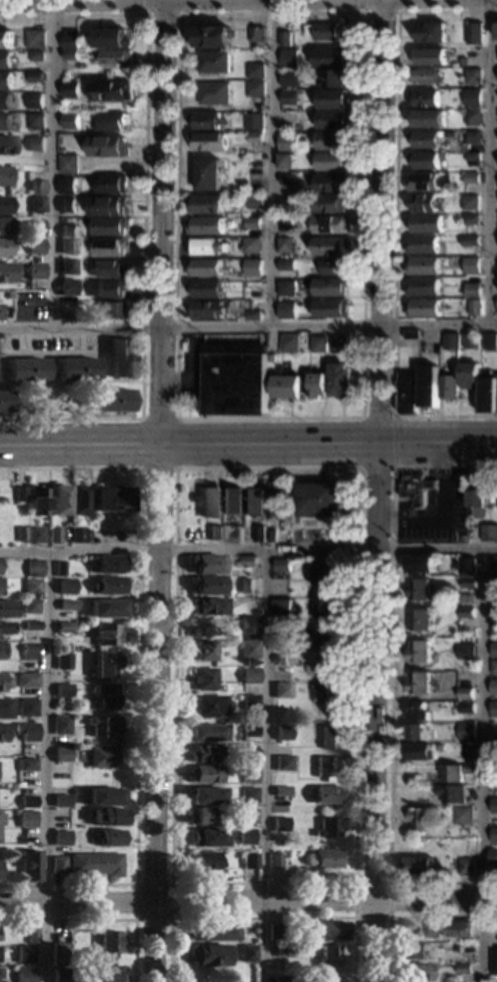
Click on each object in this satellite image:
road: (27, 0)
road: (364, 12)
road: (381, 12)
road: (160, 15)
building: (325, 31)
building: (431, 32)
building: (257, 33)
building: (474, 33)
building: (210, 37)
building: (111, 38)
building: (284, 38)
building: (4, 39)
building: (33, 39)
building: (68, 39)
building: (69, 55)
building: (35, 56)
building: (115, 57)
building: (288, 57)
building: (332, 57)
building: (430, 57)
building: (5, 59)
building: (213, 61)
building: (463, 62)
building: (254, 70)
building: (425, 76)
building: (474, 76)
building: (23, 77)
building: (36, 77)
building: (289, 78)
building: (335, 79)
building: (5, 80)
building: (255, 88)
building: (69, 90)
building: (110, 91)
building: (214, 93)
building: (288, 98)
building: (424, 98)
building: (473, 98)
building: (332, 99)
building: (5, 101)
building: (33, 101)
building: (260, 108)
building: (286, 116)
building: (253, 117)
building: (473, 117)
building: (428, 118)
building: (333, 119)
building: (205, 120)
building: (70, 121)
building: (109, 121)
building: (5, 122)
building: (35, 122)
building: (449, 134)
building: (297, 135)
building: (285, 137)
building: (473, 137)
building: (254, 138)
building: (425, 139)
building: (333, 140)
building: (209, 141)
building: (34, 144)
building: (6, 146)
building: (107, 146)
building: (472, 156)
building: (425, 160)
building: (285, 161)
building: (332, 161)
road: (490, 162)
building: (68, 163)
road: (272, 163)
road: (53, 164)
building: (209, 174)
building: (3, 177)
building: (471, 178)
building: (287, 179)
building: (423, 182)
building: (330, 183)
building: (67, 184)
building: (113, 185)
building: (35, 188)
building: (469, 188)
building: (254, 202)
building: (470, 202)
building: (329, 203)
building: (423, 203)
building: (206, 204)
building: (35, 205)
building: (66, 205)
building: (3, 206)
building: (108, 206)
road: (394, 215)
road: (142, 216)
building: (470, 219)
building: (284, 221)
building: (251, 223)
building: (425, 223)
building: (330, 224)
building: (109, 226)
building: (206, 226)
building: (3, 227)
building: (33, 230)
building: (67, 231)
building: (469, 241)
building: (251, 245)
building: (285, 245)
building: (333, 245)
building: (422, 245)
building: (33, 247)
building: (66, 247)
building: (110, 247)
building: (206, 247)
building: (3, 248)
building: (470, 263)
building: (252, 264)
building: (286, 264)
building: (333, 266)
building: (423, 266)
building: (65, 267)
building: (205, 267)
building: (110, 269)
building: (33, 272)
building: (6, 274)
building: (250, 285)
building: (330, 287)
building: (423, 287)
building: (65, 288)
building: (285, 288)
building: (206, 289)
building: (108, 290)
building: (472, 290)
building: (5, 296)
building: (496, 301)
building: (474, 306)
building: (331, 308)
building: (423, 308)
building: (209, 309)
building: (114, 310)
building: (286, 310)
building: (251, 315)
road: (248, 326)
building: (411, 335)
building: (470, 340)
building: (450, 341)
building: (490, 341)
building: (288, 343)
building: (338, 343)
building: (317, 345)
road: (97, 355)
building: (119, 358)
building: (74, 370)
building: (23, 371)
building: (469, 375)
building: (234, 379)
building: (340, 380)
building: (317, 385)
building: (287, 386)
building: (428, 386)
building: (448, 386)
road: (70, 389)
building: (489, 391)
building: (406, 392)
building: (110, 401)
building: (3, 402)
road: (13, 405)
road: (83, 405)
road: (376, 416)
road: (157, 420)
road: (393, 441)
road: (248, 448)
road: (374, 466)
road: (157, 469)
road: (425, 470)
road: (443, 474)
building: (414, 487)
road: (155, 490)
road: (375, 490)
building: (18, 495)
building: (110, 499)
building: (319, 499)
building: (254, 500)
building: (57, 501)
building: (78, 501)
building: (233, 501)
building: (36, 502)
building: (274, 502)
road: (430, 502)
building: (477, 502)
building: (212, 503)
road: (443, 516)
building: (215, 533)
building: (232, 533)
building: (259, 533)
building: (489, 533)
building: (18, 534)
building: (271, 534)
building: (34, 536)
building: (58, 536)
building: (75, 536)
road: (248, 550)
building: (249, 561)
building: (494, 563)
building: (420, 564)
building: (108, 565)
building: (204, 565)
building: (282, 565)
building: (467, 565)
building: (31, 568)
building: (58, 569)
building: (323, 572)
building: (468, 583)
building: (205, 585)
building: (107, 586)
building: (245, 586)
building: (494, 586)
building: (29, 587)
building: (64, 587)
building: (419, 589)
building: (16, 596)
building: (466, 598)
building: (65, 606)
building: (28, 607)
building: (206, 607)
building: (283, 607)
building: (330, 607)
building: (5, 609)
building: (104, 609)
building: (494, 610)
building: (466, 612)
building: (419, 619)
building: (246, 625)
building: (493, 625)
building: (29, 626)
building: (63, 628)
building: (3, 629)
building: (282, 632)
building: (105, 635)
building: (325, 636)
building: (494, 649)
building: (246, 650)
building: (466, 650)
building: (419, 651)
building: (28, 652)
building: (202, 652)
building: (283, 659)
building: (470, 659)
building: (62, 662)
building: (324, 664)
building: (104, 665)
building: (494, 667)
road: (137, 675)
building: (247, 676)
road: (390, 677)
building: (201, 680)
building: (26, 681)
building: (419, 682)
building: (3, 683)
building: (494, 687)
building: (279, 690)
building: (62, 691)
building: (322, 691)
building: (466, 693)
building: (105, 697)
building: (247, 703)
building: (207, 707)
building: (466, 707)
building: (27, 708)
building: (494, 708)
building: (3, 709)
building: (417, 711)
building: (60, 726)
building: (101, 727)
building: (494, 729)
building: (247, 731)
building: (26, 732)
building: (417, 732)
building: (2, 733)
building: (206, 733)
building: (281, 733)
building: (466, 733)
building: (328, 737)
building: (439, 748)
building: (495, 749)
building: (418, 752)
building: (201, 754)
building: (61, 755)
building: (247, 756)
building: (101, 757)
building: (281, 763)
building: (25, 765)
road: (484, 765)
road: (263, 766)
road: (44, 767)
building: (324, 768)
building: (469, 769)
building: (451, 773)
building: (201, 775)
building: (247, 776)
building: (494, 776)
building: (19, 786)
building: (280, 792)
building: (74, 793)
building: (451, 793)
building: (325, 795)
building: (246, 796)
building: (203, 797)
building: (102, 798)
building: (25, 802)
building: (60, 802)
building: (494, 805)
building: (463, 815)
building: (106, 817)
building: (199, 817)
building: (246, 817)
building: (0, 819)
building: (421, 819)
building: (25, 820)
building: (278, 825)
building: (327, 827)
building: (79, 829)
building: (494, 835)
building: (244, 837)
building: (206, 838)
building: (60, 839)
building: (109, 839)
building: (493, 856)
building: (283, 859)
building: (325, 859)
building: (247, 862)
building: (274, 862)
building: (204, 863)
building: (94, 864)
building: (416, 865)
building: (56, 866)
building: (467, 866)
building: (28, 867)
road: (370, 884)
road: (170, 885)
road: (170, 885)
road: (353, 901)
road: (389, 901)
road: (248, 902)
road: (411, 918)
road: (263, 919)
road: (371, 919)
road: (97, 922)
building: (448, 929)
building: (329, 932)
building: (213, 933)
building: (274, 933)
building: (30, 936)
building: (108, 943)
building: (282, 952)
building: (416, 952)
building: (246, 954)
building: (22, 955)
building: (56, 956)
building: (205, 956)
building: (327, 957)
building: (494, 962)
building: (465, 968)
building: (0, 973)
building: (24, 973)
building: (413, 973)
building: (101, 975)
building: (56, 976)
building: (278, 979)
building: (327, 980)

